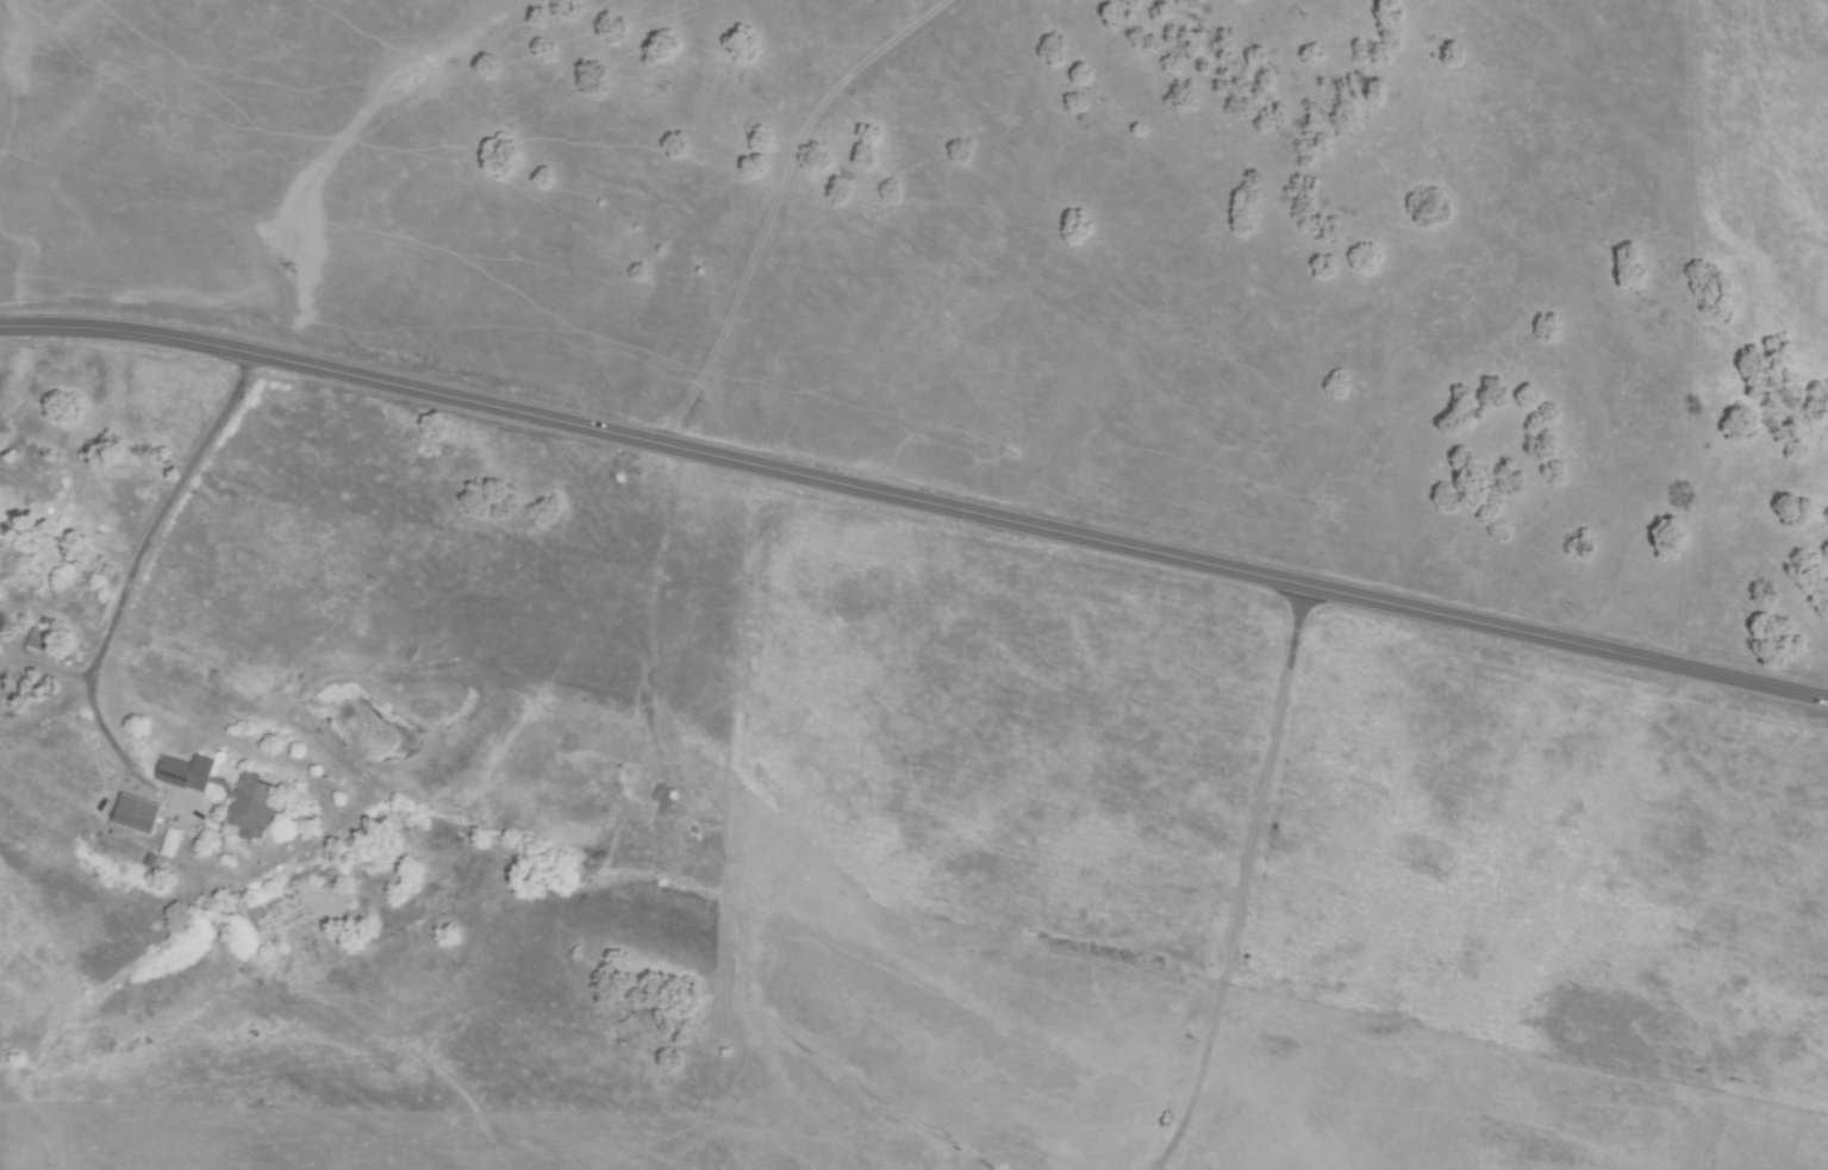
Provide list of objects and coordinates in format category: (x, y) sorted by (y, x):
road: (787, 201)
road: (915, 496)
building: (64, 521)
road: (149, 563)
building: (108, 571)
building: (0, 599)
building: (43, 639)
road: (114, 736)
building: (255, 801)
building: (138, 814)
building: (171, 844)
building: (150, 862)
road: (1241, 880)

